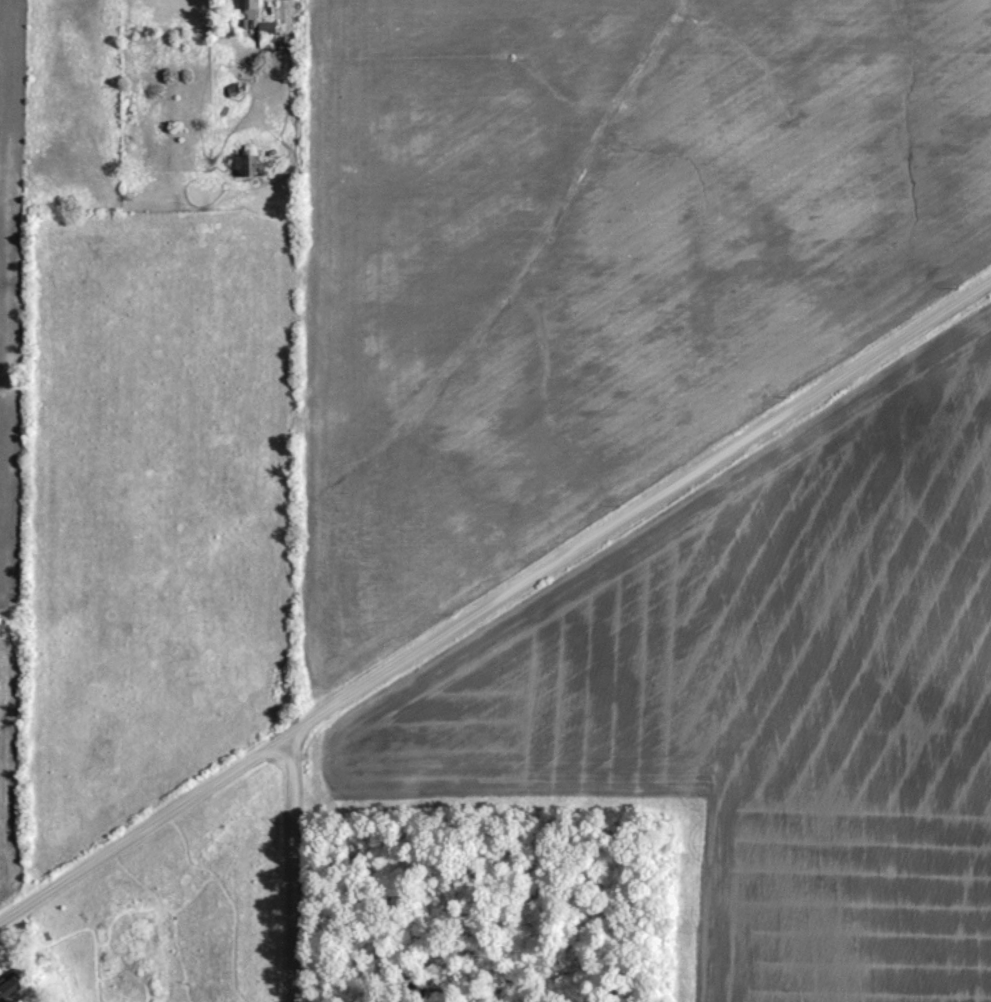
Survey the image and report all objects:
building: (250, 8)
building: (266, 32)
building: (246, 162)
road: (498, 592)
road: (286, 866)

